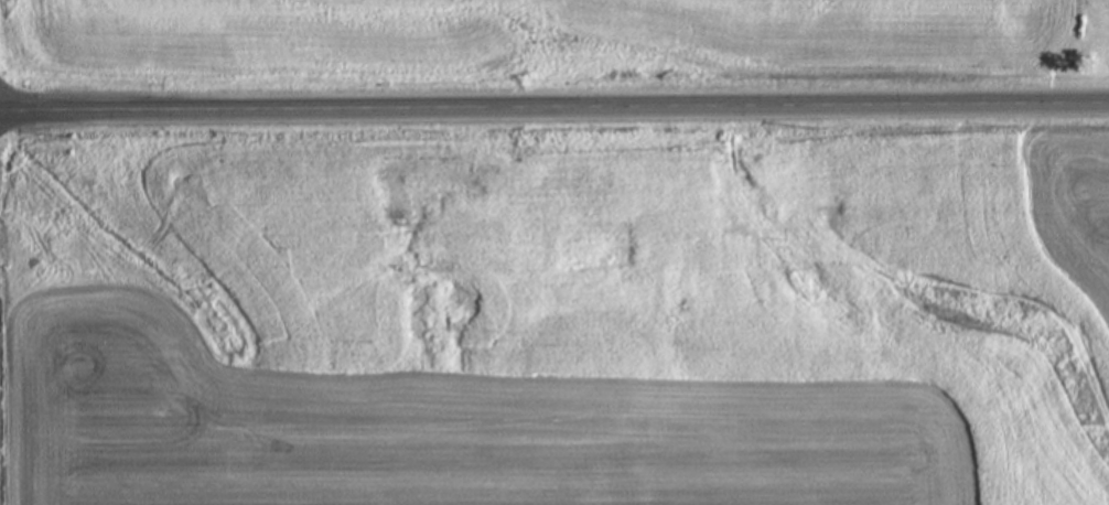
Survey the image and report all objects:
road: (554, 108)

